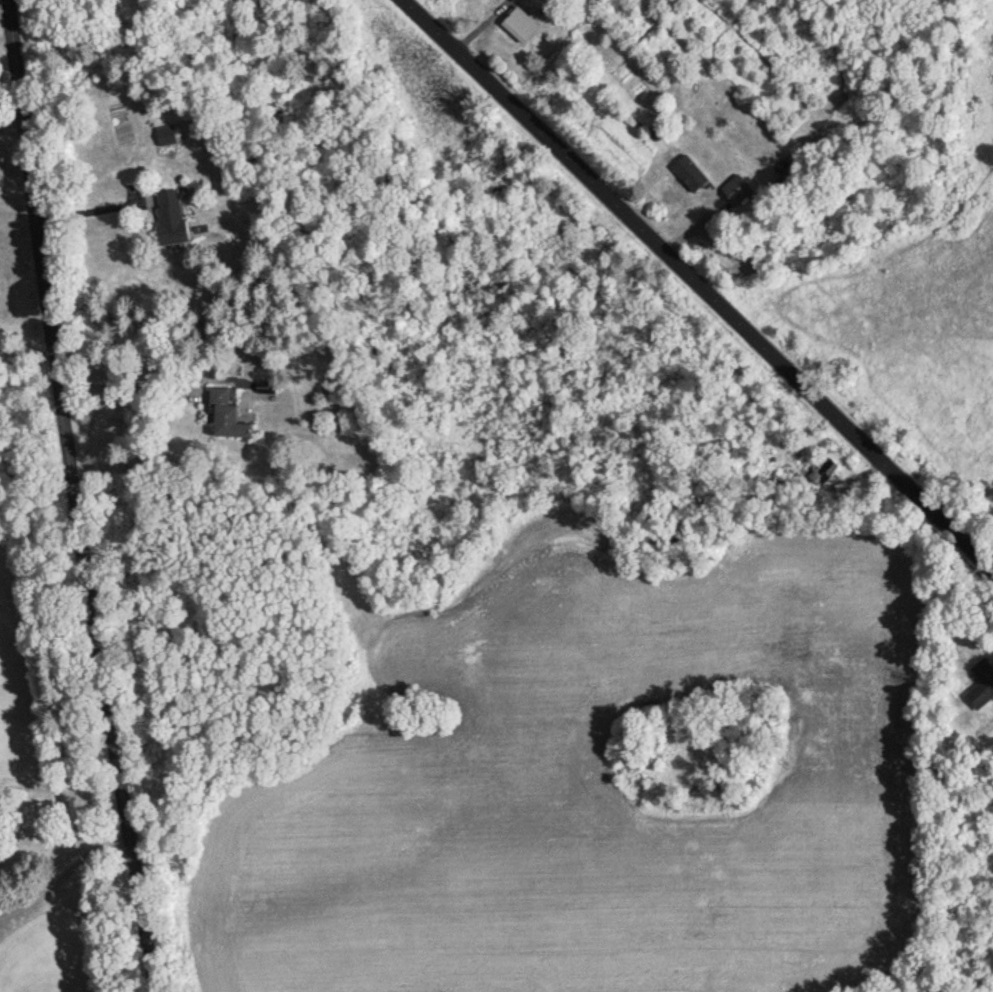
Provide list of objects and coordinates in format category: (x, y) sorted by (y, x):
building: (532, 0)
building: (526, 23)
road: (14, 123)
building: (171, 137)
building: (691, 174)
building: (738, 189)
road: (94, 207)
building: (174, 218)
road: (697, 287)
road: (29, 344)
building: (232, 415)
building: (821, 468)
road: (80, 496)
building: (982, 686)
road: (67, 872)

